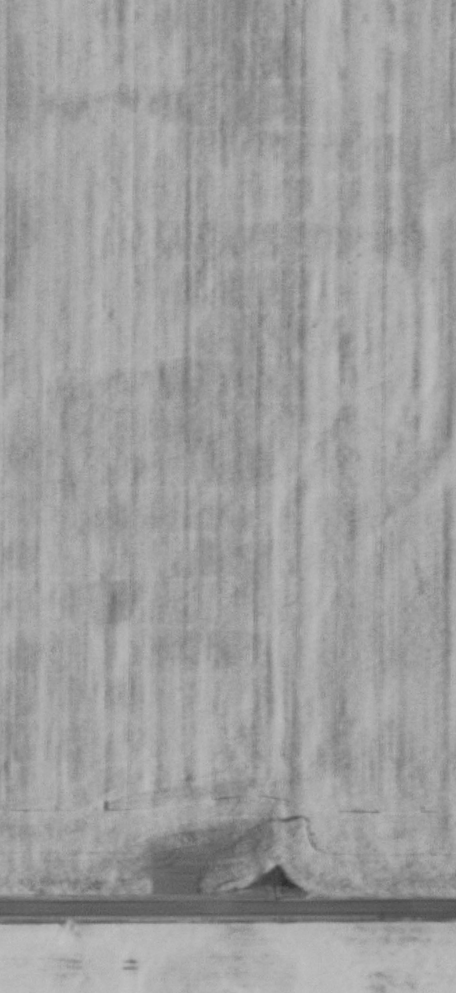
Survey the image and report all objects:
road: (227, 899)

